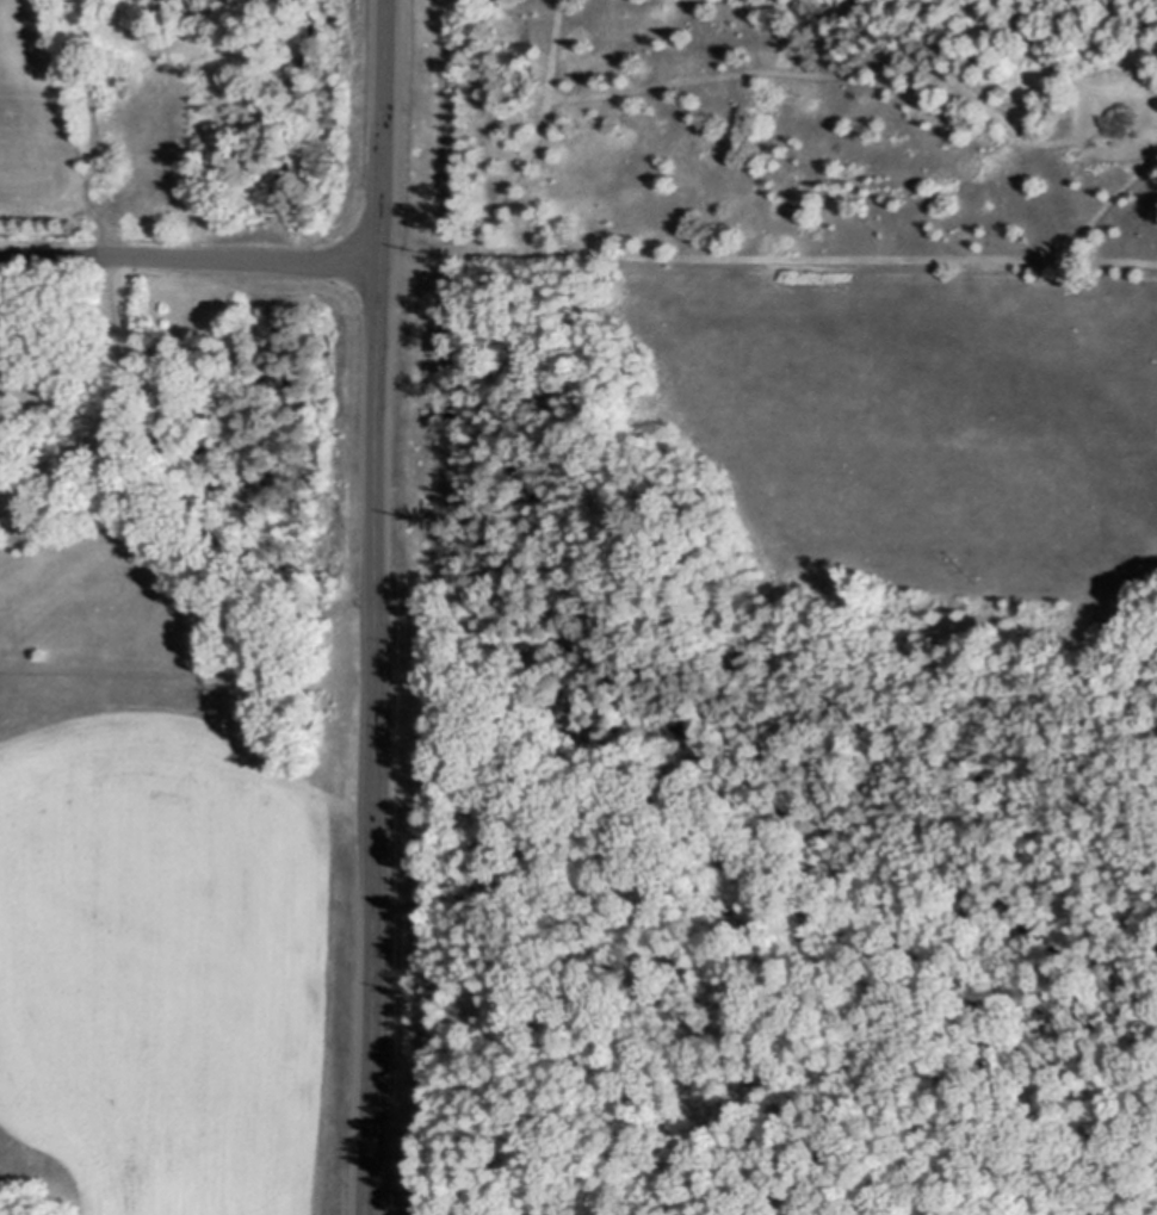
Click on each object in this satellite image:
road: (98, 126)
road: (192, 254)
road: (378, 607)

